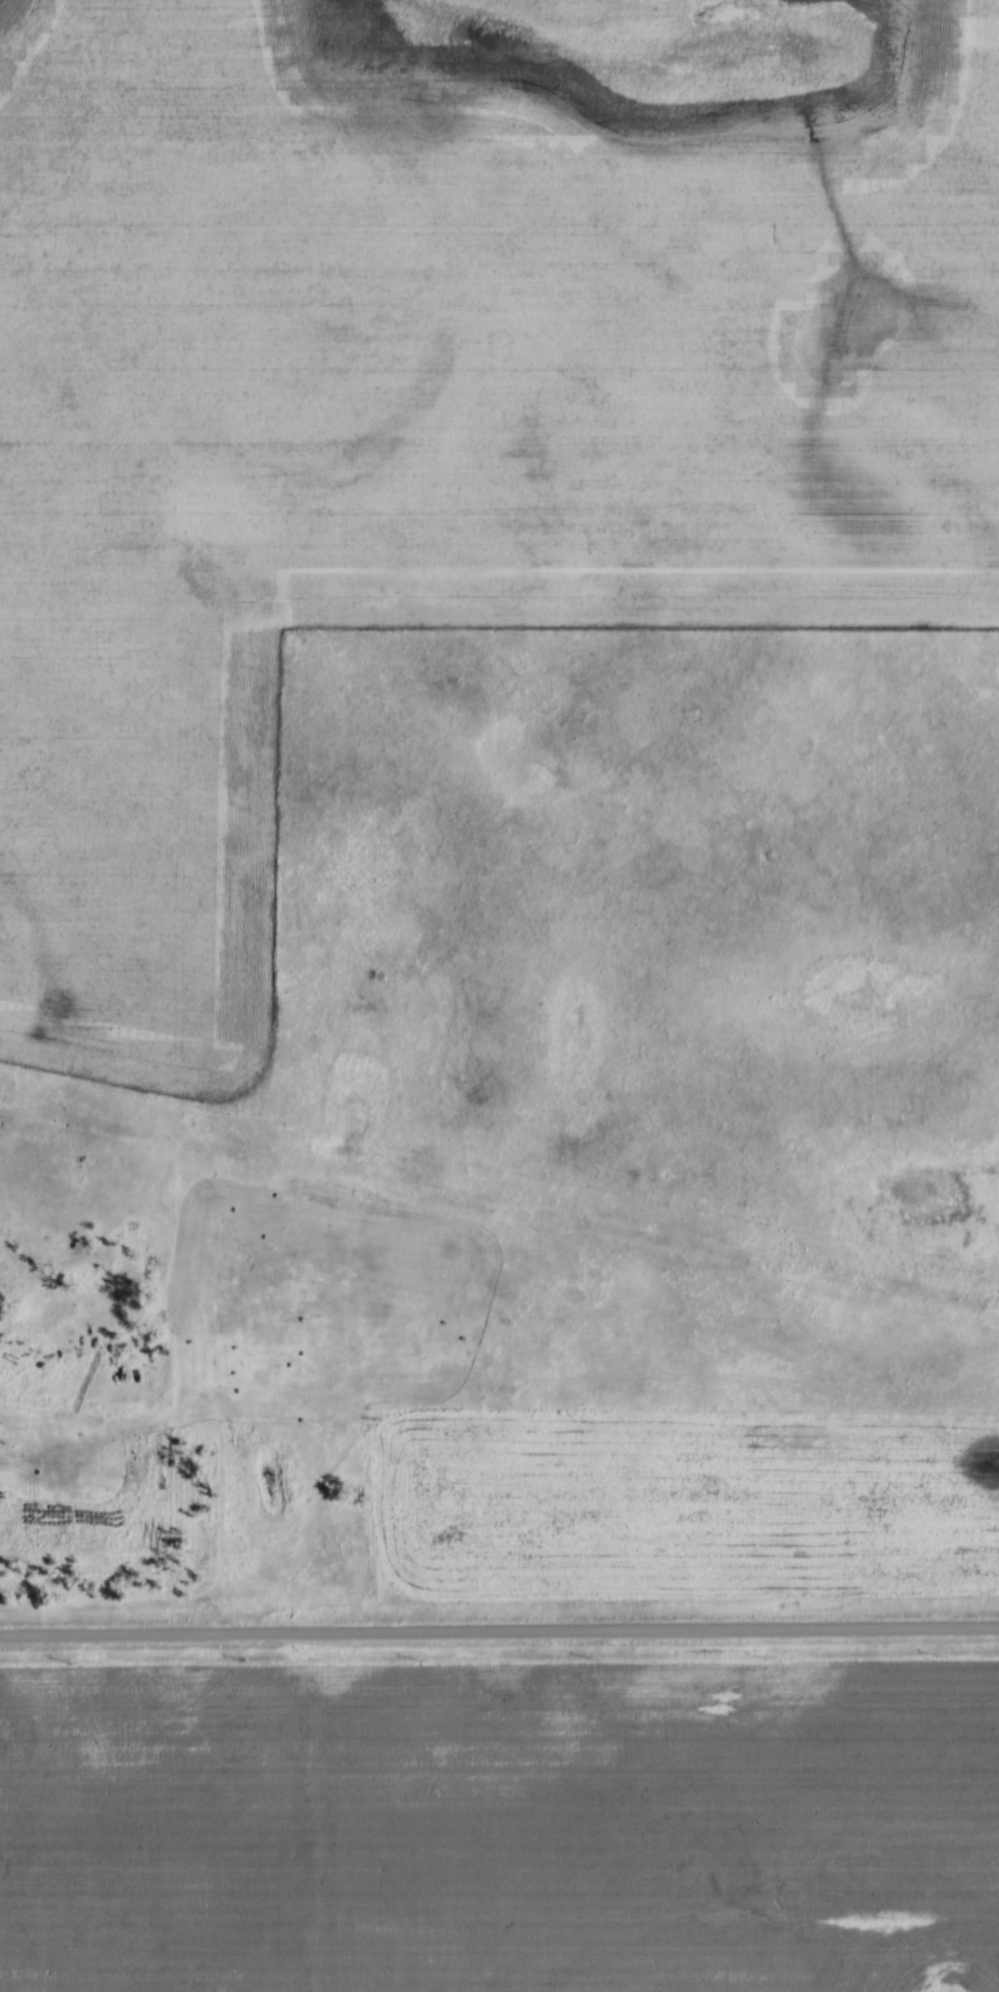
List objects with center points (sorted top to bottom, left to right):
road: (499, 1629)

